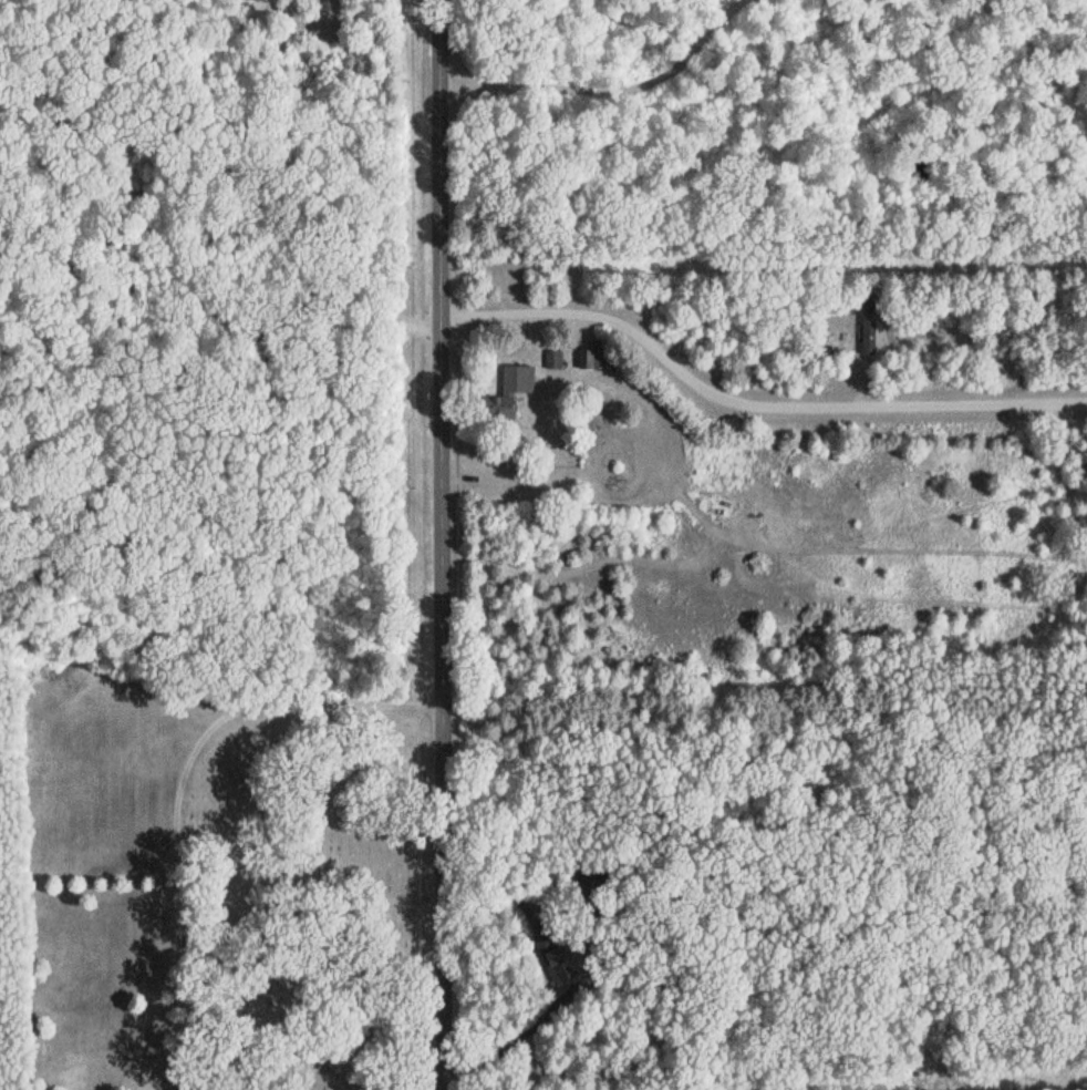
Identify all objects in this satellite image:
building: (870, 329)
road: (747, 402)
road: (437, 545)
park: (313, 906)

